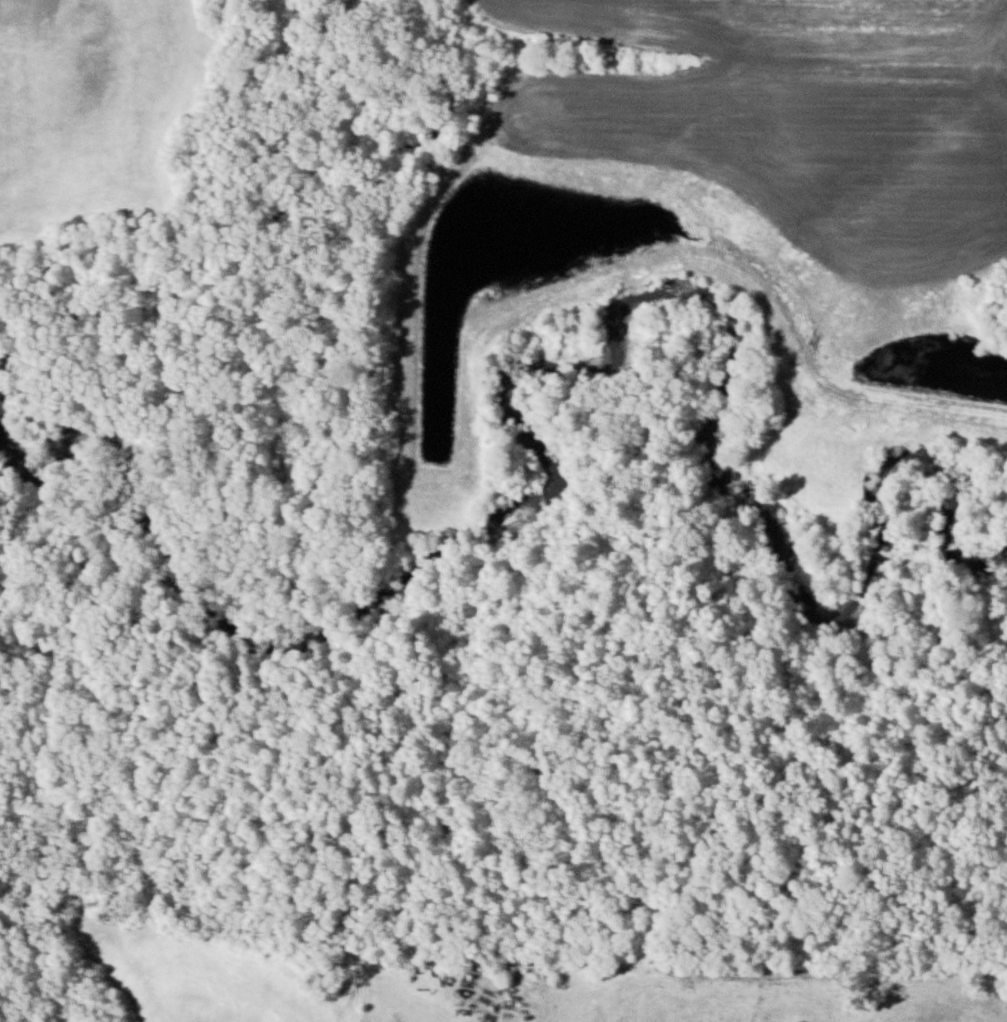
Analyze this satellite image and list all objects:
river: (585, 368)

